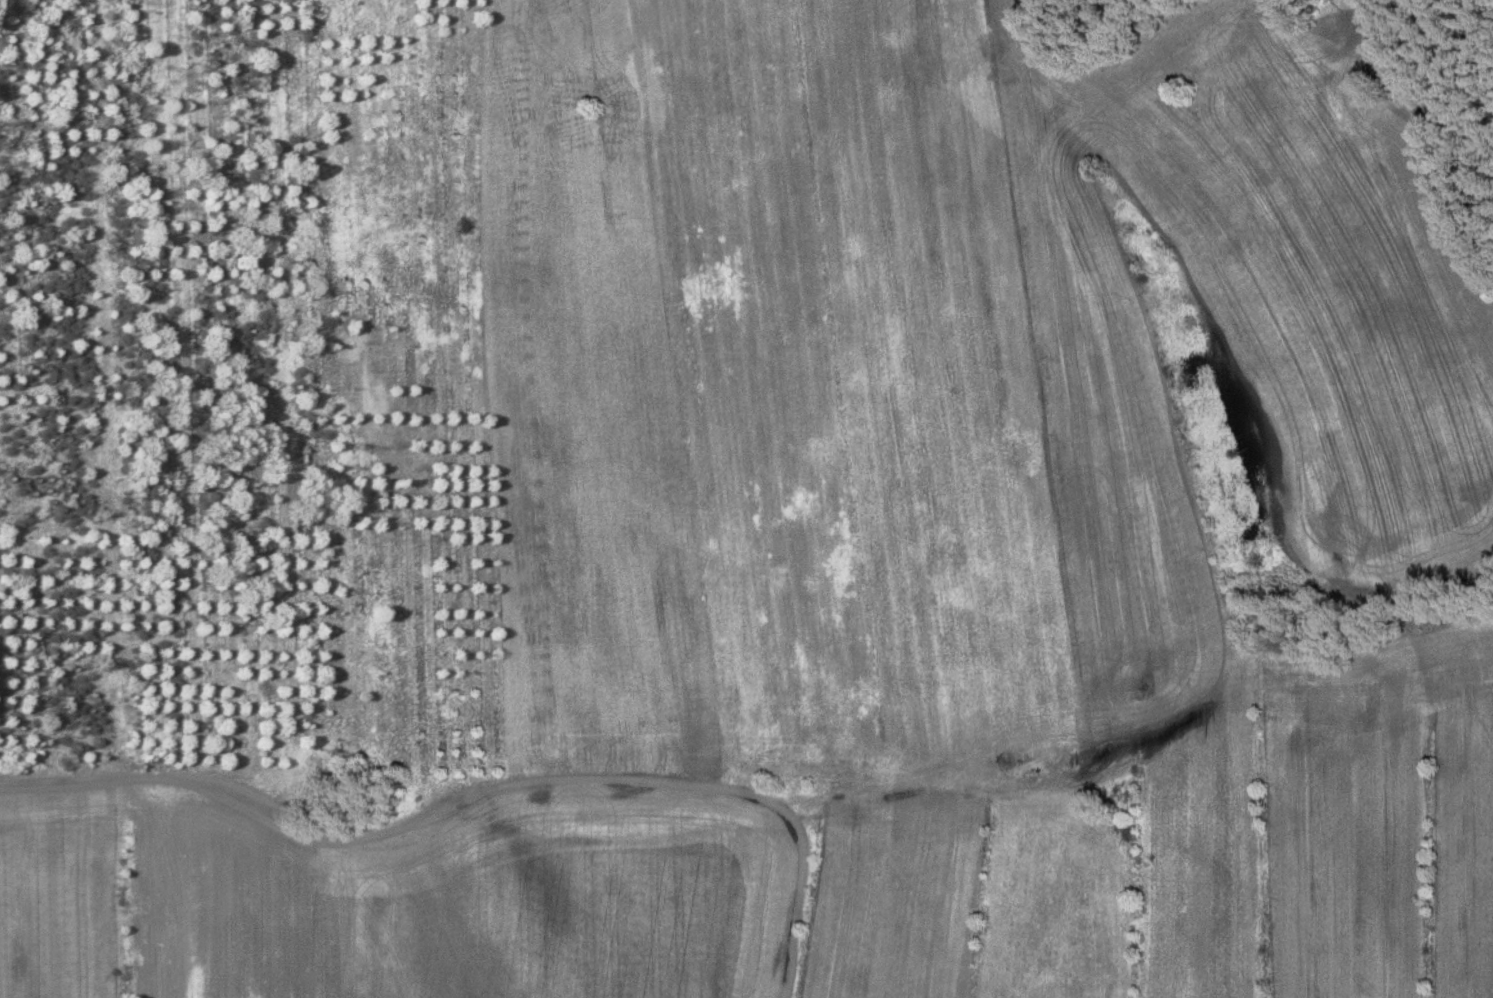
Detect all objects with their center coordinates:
road: (754, 787)

